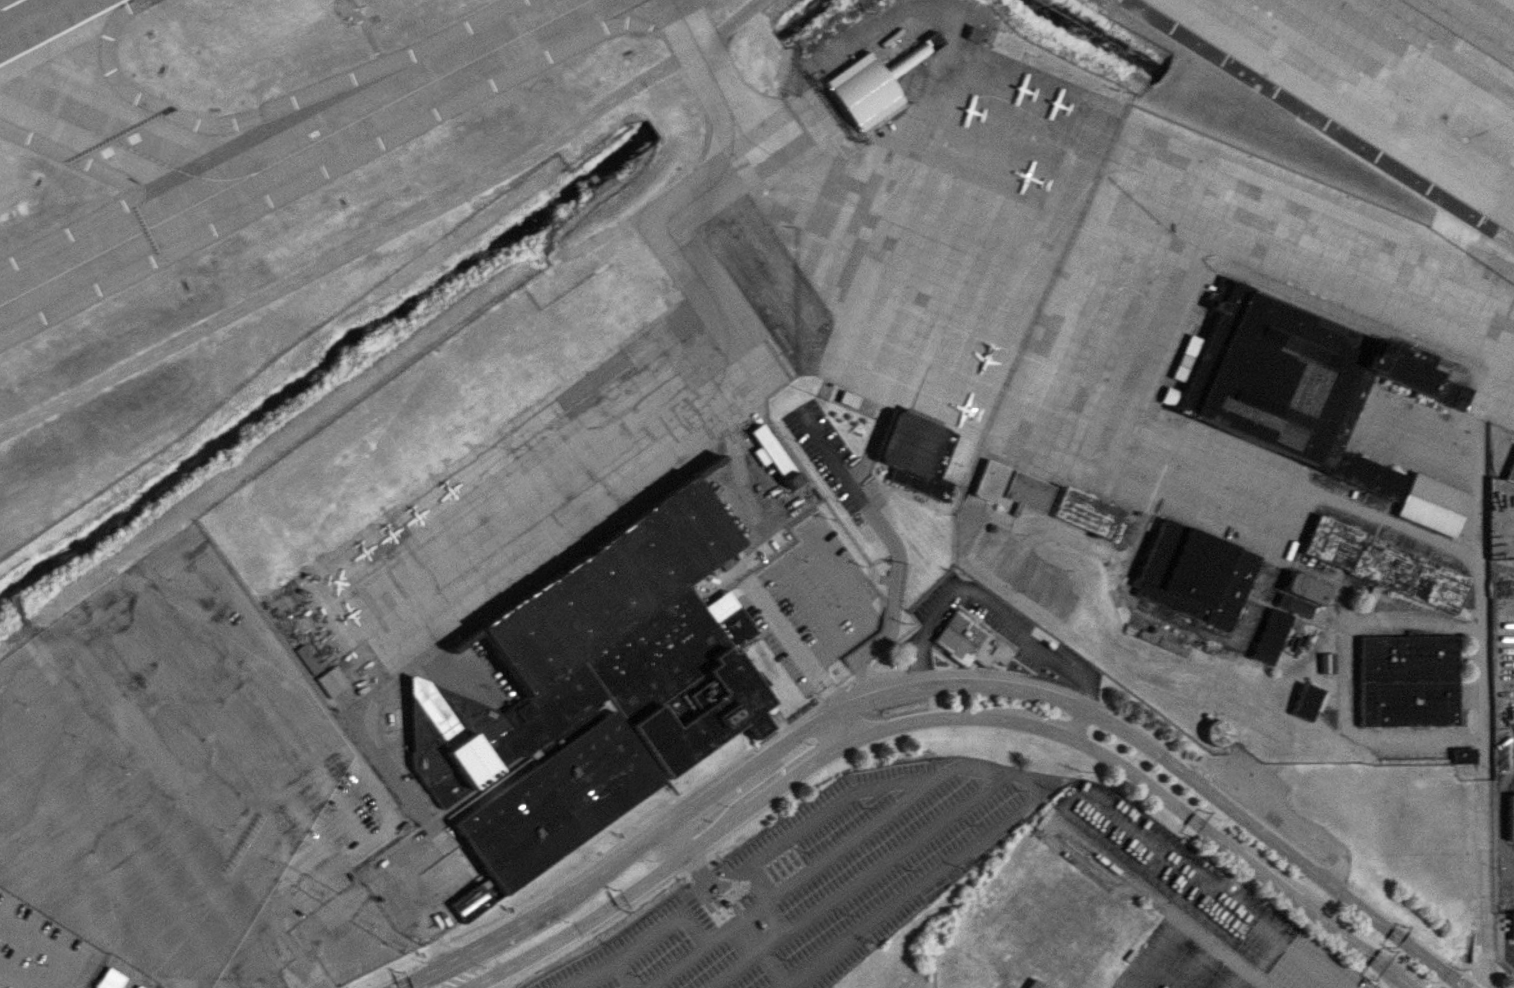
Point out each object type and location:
airport runway: (9, 4)
road: (1449, 40)
road: (376, 48)
building: (908, 57)
airport taxiway: (53, 73)
airport apron: (1387, 84)
building: (861, 91)
airport taxiway: (124, 146)
airport taxiway: (294, 152)
airport taxiway: (835, 191)
road: (390, 233)
airport apron: (758, 327)
airport taxiway: (727, 338)
building: (1301, 383)
building: (851, 399)
road: (1475, 451)
building: (920, 454)
building: (774, 455)
building: (1510, 470)
airport: (741, 475)
road: (855, 486)
building: (1030, 491)
building: (1434, 504)
building: (1091, 513)
road: (1419, 533)
road: (1069, 536)
road: (808, 540)
building: (1127, 540)
road: (161, 555)
building: (1392, 566)
road: (1025, 573)
building: (1199, 573)
building: (1311, 587)
road: (811, 599)
road: (993, 604)
building: (1301, 604)
parking lot: (1002, 618)
road: (1188, 620)
road: (881, 633)
building: (1278, 636)
building: (1165, 639)
building: (1301, 640)
building: (969, 641)
building: (307, 659)
building: (1331, 662)
road: (816, 676)
road: (1346, 678)
building: (1412, 679)
building: (331, 680)
road: (977, 684)
road: (828, 689)
building: (591, 692)
building: (1310, 701)
road: (832, 702)
road: (852, 704)
road: (961, 716)
road: (332, 718)
parking lot: (335, 721)
road: (1079, 723)
road: (844, 726)
water tower: (1220, 732)
building: (1220, 735)
building: (1465, 754)
road: (970, 766)
road: (1080, 791)
road: (1209, 791)
road: (389, 802)
road: (1282, 808)
building: (1510, 816)
road: (814, 818)
road: (1192, 819)
road: (644, 841)
road: (320, 847)
road: (683, 851)
road: (662, 869)
road: (1486, 870)
road: (720, 880)
parking lot: (821, 880)
road: (855, 880)
road: (713, 883)
road: (747, 886)
parking lot: (1193, 892)
road: (712, 896)
road: (1317, 896)
road: (704, 899)
road: (735, 906)
road: (731, 919)
road: (728, 921)
road: (268, 924)
building: (1512, 924)
road: (314, 926)
road: (1395, 935)
road: (285, 936)
road: (1470, 937)
road: (641, 943)
road: (339, 946)
road: (50, 947)
road: (1359, 948)
parking lot: (41, 950)
road: (440, 950)
road: (760, 954)
road: (1157, 954)
parking lot: (1172, 964)
road: (1199, 966)
road: (419, 974)
road: (452, 974)
road: (626, 974)
road: (1479, 974)
road: (1485, 975)
road: (1239, 978)
building: (108, 979)
road: (20, 980)
traffic signals: (1475, 983)
building: (1029, 984)
road: (402, 985)
building: (137, 986)
parking lot: (158, 986)

